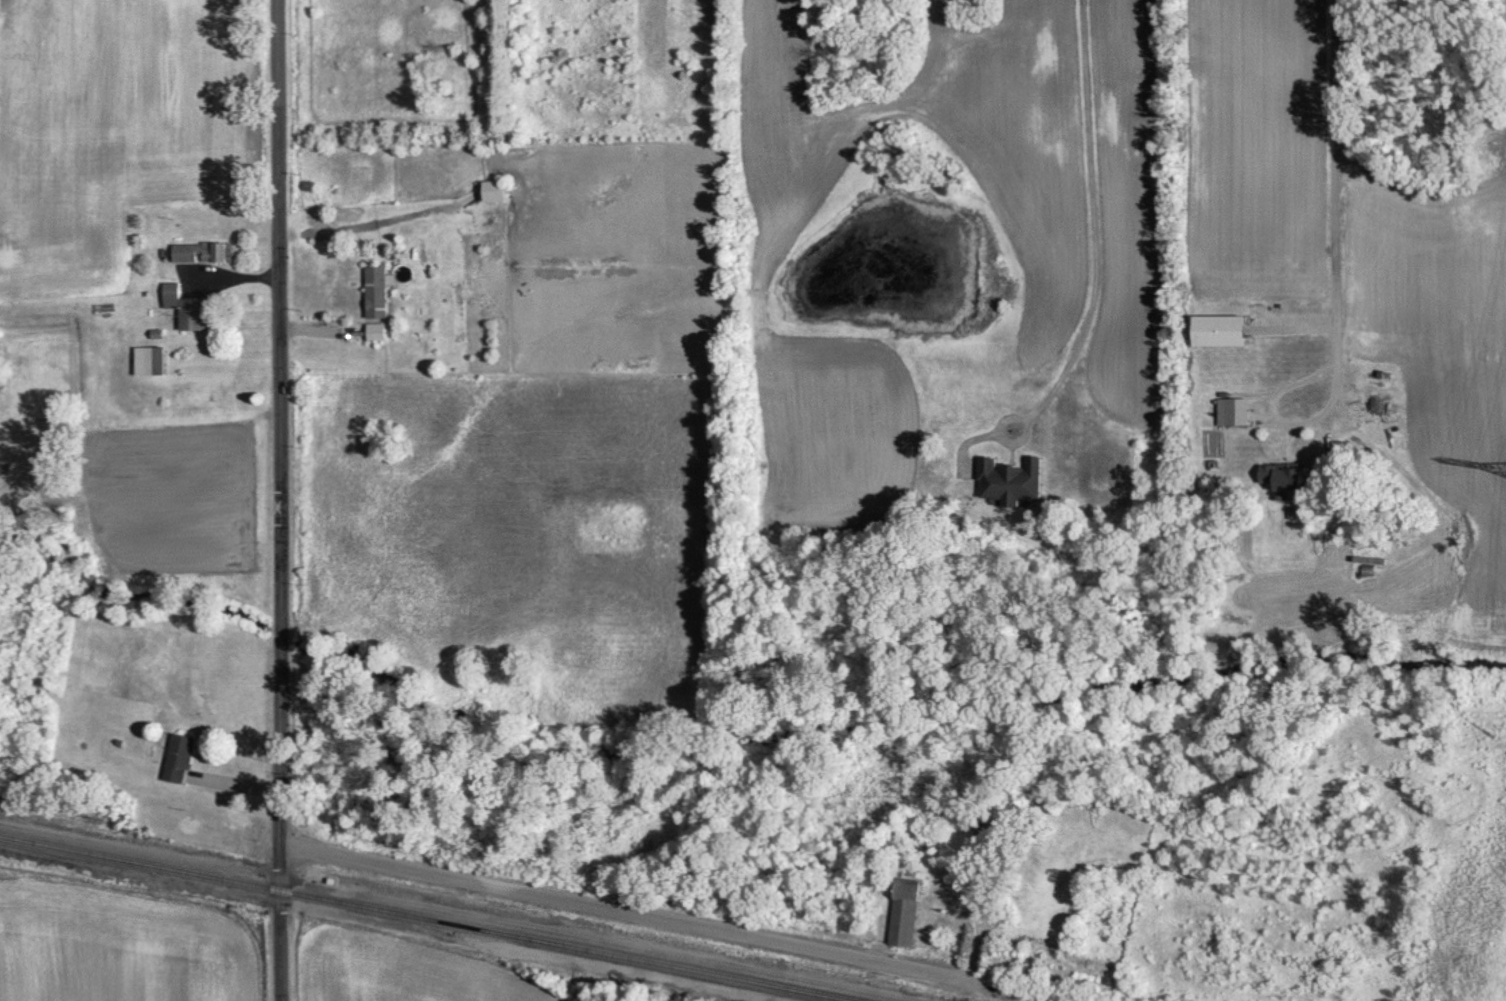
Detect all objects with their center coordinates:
road: (1331, 179)
building: (488, 189)
road: (1091, 225)
building: (197, 251)
building: (372, 290)
building: (183, 307)
building: (1217, 329)
building: (371, 331)
building: (145, 358)
building: (1230, 410)
road: (1277, 417)
building: (1281, 475)
building: (1006, 481)
road: (278, 500)
river: (721, 733)
building: (176, 757)
building: (986, 830)
road: (625, 909)
building: (904, 912)
railway: (427, 916)

